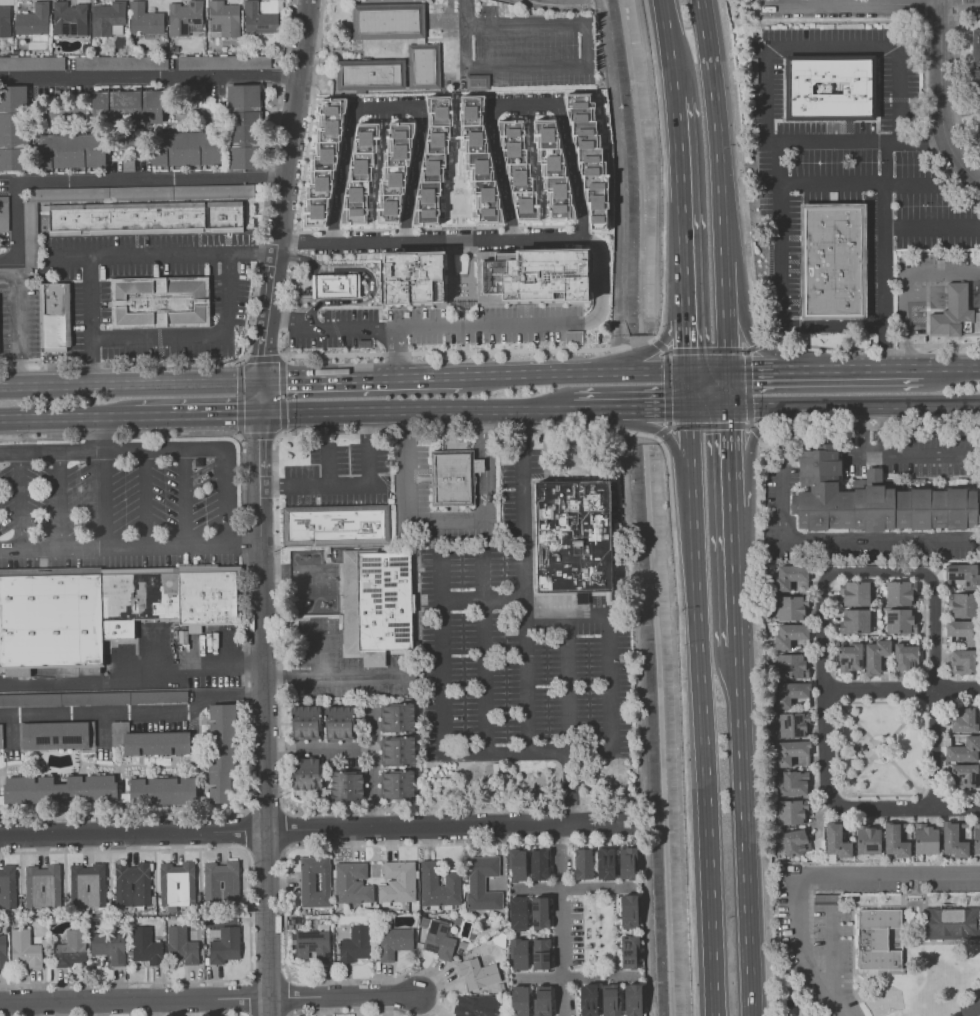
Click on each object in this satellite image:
road: (787, 2)
road: (871, 4)
road: (550, 6)
road: (465, 12)
building: (185, 18)
building: (70, 19)
building: (108, 19)
building: (224, 19)
building: (259, 19)
building: (145, 20)
building: (5, 22)
building: (34, 22)
building: (401, 37)
road: (287, 38)
building: (976, 47)
road: (669, 48)
building: (121, 62)
building: (223, 62)
building: (32, 63)
road: (585, 64)
road: (766, 71)
building: (371, 75)
road: (148, 78)
building: (477, 82)
building: (976, 87)
building: (857, 89)
road: (943, 94)
building: (126, 106)
road: (386, 108)
building: (979, 118)
building: (243, 126)
building: (13, 128)
road: (717, 130)
building: (185, 148)
road: (678, 149)
building: (69, 150)
building: (323, 158)
building: (478, 161)
building: (589, 161)
building: (433, 162)
building: (128, 164)
building: (519, 165)
building: (552, 166)
building: (395, 171)
road: (108, 177)
road: (880, 183)
road: (884, 183)
road: (283, 206)
building: (3, 213)
building: (152, 219)
road: (583, 221)
road: (781, 233)
building: (30, 234)
road: (681, 248)
road: (883, 248)
road: (119, 257)
building: (833, 260)
building: (531, 275)
road: (367, 276)
building: (413, 277)
road: (603, 279)
road: (905, 282)
road: (724, 284)
building: (337, 286)
road: (951, 295)
building: (158, 301)
building: (952, 312)
building: (53, 317)
road: (17, 321)
road: (489, 325)
road: (671, 325)
road: (833, 326)
road: (355, 329)
road: (685, 332)
road: (195, 336)
road: (726, 338)
road: (246, 339)
road: (752, 340)
road: (640, 343)
road: (658, 343)
road: (758, 345)
road: (283, 347)
road: (666, 351)
road: (669, 351)
road: (706, 351)
road: (744, 351)
road: (746, 351)
traffic signals: (262, 355)
road: (285, 355)
road: (639, 359)
road: (853, 368)
road: (951, 368)
road: (670, 370)
traffic signals: (687, 370)
road: (707, 370)
traffic signals: (727, 370)
road: (756, 370)
road: (641, 371)
road: (546, 373)
road: (361, 378)
traffic signals: (283, 380)
road: (130, 384)
road: (667, 388)
road: (687, 388)
road: (728, 388)
road: (748, 388)
road: (854, 405)
road: (708, 406)
traffic signals: (729, 406)
road: (671, 407)
traffic signals: (688, 407)
road: (585, 408)
road: (627, 408)
road: (414, 410)
road: (197, 414)
traffic signals: (236, 414)
road: (67, 416)
road: (626, 422)
road: (668, 423)
road: (750, 423)
road: (748, 425)
road: (669, 426)
road: (709, 426)
road: (883, 428)
road: (864, 429)
road: (100, 431)
road: (756, 432)
road: (660, 433)
road: (641, 434)
road: (755, 434)
road: (239, 436)
road: (650, 436)
road: (729, 436)
road: (689, 439)
traffic signals: (258, 442)
road: (275, 443)
road: (176, 446)
road: (674, 449)
road: (911, 453)
road: (328, 465)
building: (456, 479)
road: (351, 486)
road: (732, 486)
road: (670, 493)
road: (146, 495)
road: (186, 495)
road: (103, 496)
road: (20, 497)
road: (59, 497)
building: (872, 501)
road: (523, 504)
road: (449, 520)
building: (338, 526)
building: (576, 538)
road: (846, 538)
road: (114, 544)
building: (964, 574)
road: (735, 576)
building: (787, 576)
road: (442, 577)
building: (853, 593)
building: (898, 593)
building: (963, 605)
building: (381, 608)
building: (788, 608)
road: (603, 612)
building: (105, 613)
building: (855, 621)
building: (899, 621)
road: (245, 626)
building: (963, 631)
building: (790, 634)
road: (484, 652)
building: (875, 655)
building: (905, 656)
road: (320, 657)
building: (849, 657)
building: (962, 661)
building: (789, 665)
road: (443, 670)
road: (130, 672)
road: (331, 680)
road: (569, 682)
road: (933, 688)
road: (901, 689)
building: (789, 693)
building: (93, 698)
road: (824, 711)
road: (135, 713)
road: (263, 714)
building: (396, 717)
building: (304, 720)
building: (963, 720)
building: (337, 722)
building: (790, 724)
building: (54, 734)
building: (1, 736)
building: (149, 740)
road: (703, 744)
road: (318, 748)
building: (397, 750)
building: (964, 750)
building: (220, 751)
building: (790, 751)
building: (798, 761)
road: (371, 767)
building: (305, 772)
building: (962, 775)
building: (792, 783)
building: (345, 784)
building: (397, 784)
building: (59, 789)
building: (162, 790)
road: (282, 809)
road: (244, 810)
building: (791, 812)
road: (349, 813)
road: (313, 827)
road: (743, 830)
building: (793, 839)
building: (925, 839)
building: (976, 839)
building: (868, 840)
building: (952, 840)
building: (836, 841)
building: (894, 841)
road: (283, 847)
road: (286, 848)
road: (244, 849)
road: (287, 849)
building: (604, 862)
building: (625, 862)
building: (582, 863)
building: (515, 864)
building: (538, 864)
road: (815, 873)
building: (314, 881)
building: (397, 881)
building: (221, 882)
building: (352, 882)
building: (481, 882)
building: (132, 883)
building: (176, 883)
building: (86, 884)
building: (438, 884)
road: (599, 885)
building: (7, 886)
building: (42, 886)
building: (628, 909)
building: (516, 912)
building: (539, 912)
road: (249, 914)
road: (566, 921)
building: (950, 923)
building: (438, 939)
building: (876, 939)
building: (393, 941)
building: (313, 943)
building: (354, 944)
building: (224, 945)
building: (108, 946)
building: (145, 946)
building: (181, 946)
building: (70, 948)
building: (24, 949)
building: (2, 951)
building: (628, 951)
building: (539, 952)
building: (517, 953)
road: (829, 953)
building: (476, 973)
road: (599, 976)
road: (247, 978)
road: (288, 978)
road: (284, 980)
road: (341, 994)
road: (133, 999)
building: (632, 999)
building: (531, 1000)
building: (587, 1000)
building: (611, 1001)
building: (971, 1006)
building: (475, 1007)
road: (348, 1010)
road: (202, 1014)
road: (288, 1014)

